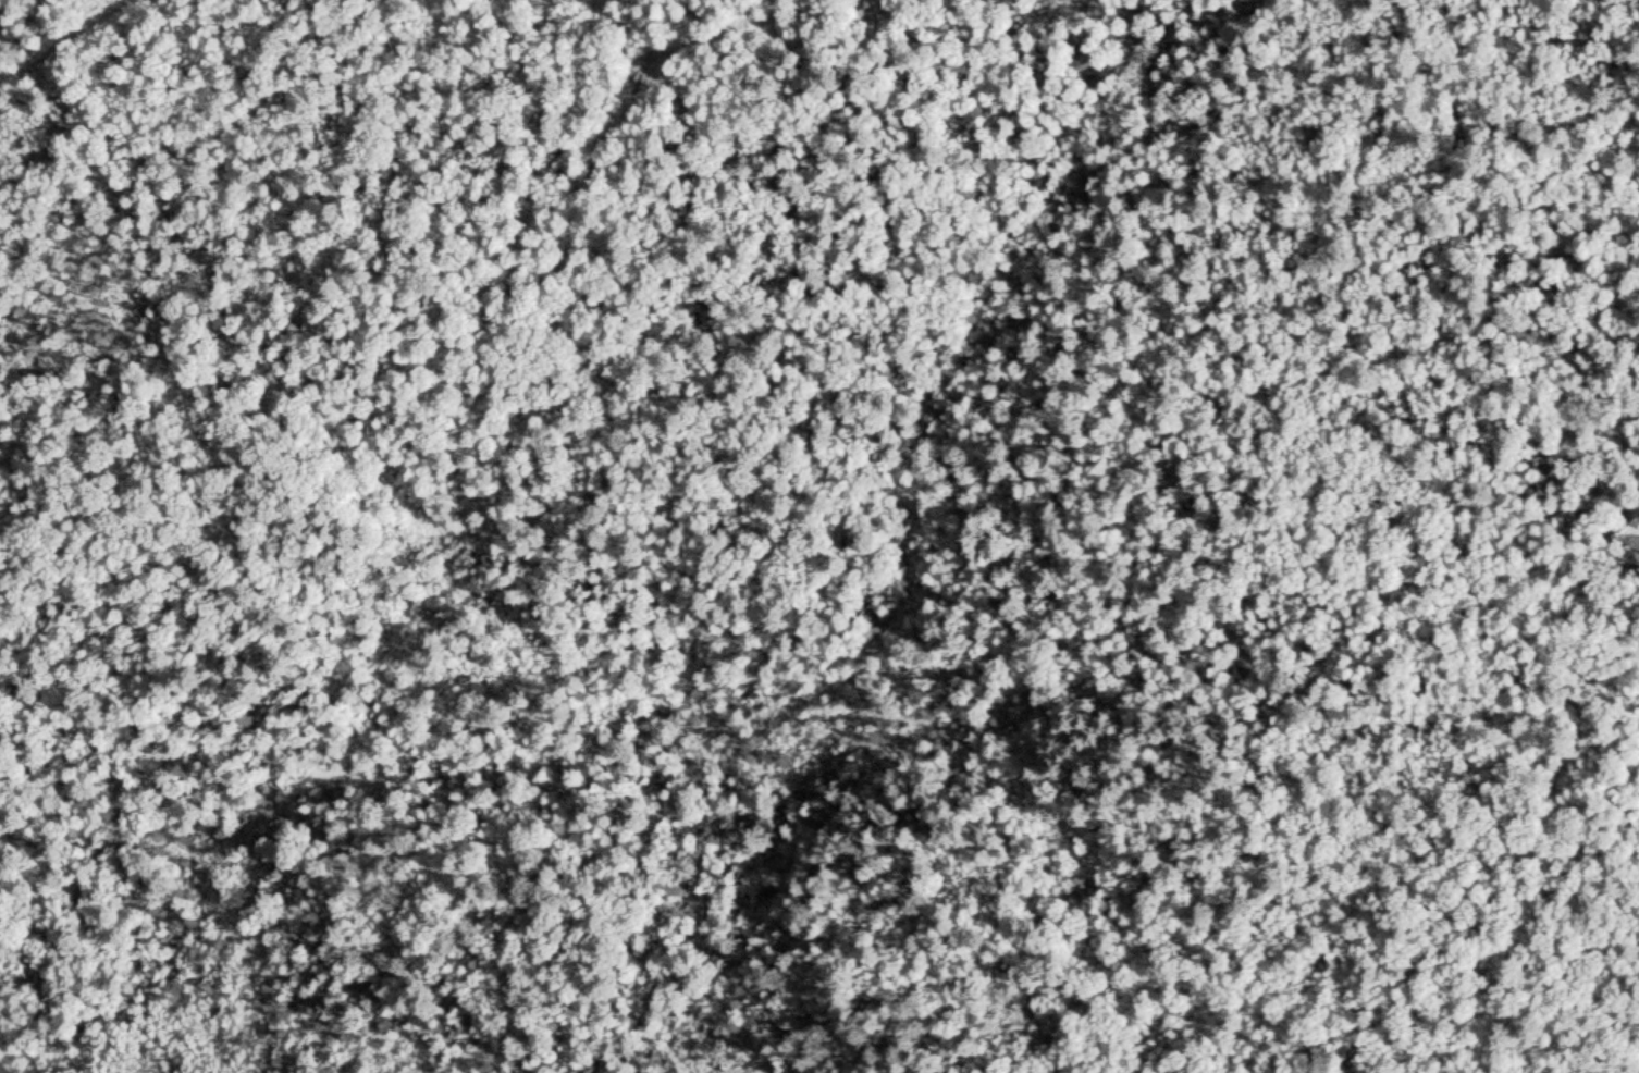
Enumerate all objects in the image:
road: (2, 1071)

